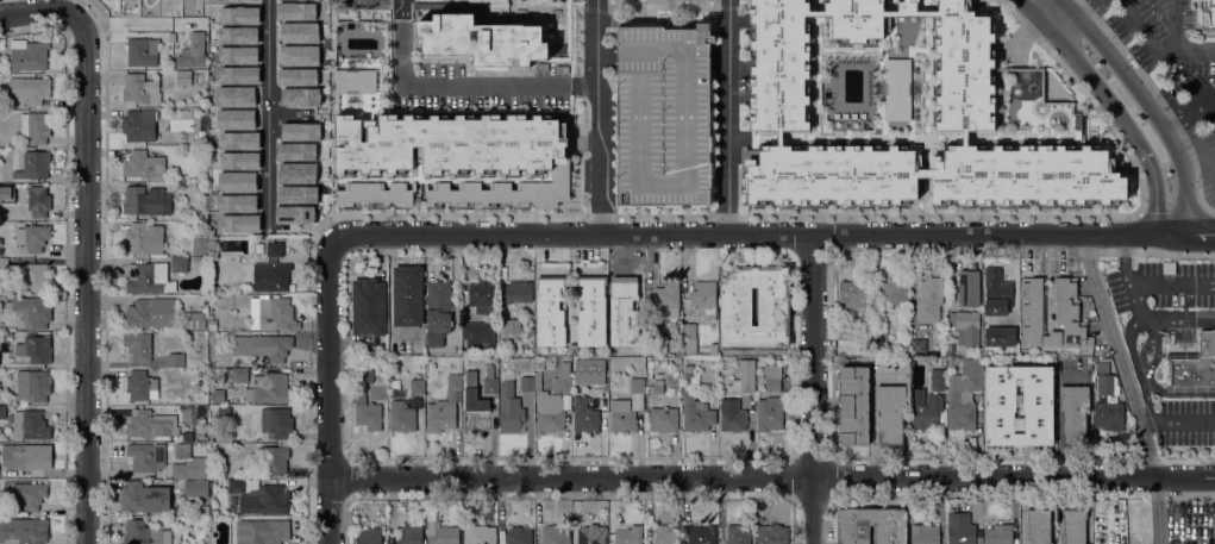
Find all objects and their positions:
road: (1033, 2)
road: (65, 6)
road: (42, 8)
road: (1075, 14)
building: (1208, 15)
road: (139, 23)
road: (1173, 25)
building: (170, 37)
building: (474, 39)
road: (1158, 46)
building: (142, 52)
building: (27, 55)
building: (192, 55)
building: (183, 77)
road: (458, 86)
building: (30, 89)
building: (140, 89)
road: (1111, 106)
road: (1146, 106)
building: (895, 112)
road: (1189, 113)
building: (663, 115)
road: (267, 117)
road: (731, 118)
road: (596, 119)
building: (139, 125)
building: (38, 127)
building: (202, 135)
building: (190, 140)
building: (446, 144)
building: (33, 165)
building: (144, 165)
building: (513, 192)
building: (374, 193)
building: (146, 201)
building: (37, 202)
building: (199, 215)
building: (120, 226)
road: (771, 235)
building: (32, 238)
building: (144, 239)
building: (200, 245)
building: (275, 250)
building: (192, 260)
building: (4, 264)
building: (202, 265)
building: (1110, 268)
building: (1169, 268)
road: (1127, 274)
building: (155, 275)
building: (271, 276)
building: (31, 277)
road: (84, 282)
road: (1172, 282)
building: (969, 288)
building: (518, 292)
building: (997, 292)
building: (893, 293)
building: (853, 294)
building: (482, 295)
building: (407, 296)
building: (703, 298)
building: (928, 300)
building: (665, 301)
building: (774, 307)
building: (33, 311)
building: (368, 311)
building: (550, 311)
building: (591, 311)
building: (150, 312)
building: (438, 312)
building: (624, 312)
building: (1066, 312)
building: (276, 314)
road: (1185, 319)
building: (194, 320)
building: (212, 325)
building: (508, 327)
building: (965, 327)
building: (846, 332)
building: (7, 333)
building: (477, 333)
building: (879, 333)
building: (688, 337)
building: (712, 337)
building: (1000, 337)
road: (1155, 339)
road: (1131, 344)
building: (138, 345)
building: (274, 348)
building: (917, 348)
building: (950, 348)
building: (33, 349)
building: (713, 349)
building: (1088, 351)
building: (176, 359)
building: (950, 361)
building: (602, 362)
building: (941, 362)
building: (1194, 367)
building: (687, 374)
building: (364, 375)
building: (239, 376)
building: (772, 376)
building: (744, 377)
building: (562, 379)
building: (453, 382)
building: (597, 382)
building: (758, 382)
building: (464, 384)
building: (1107, 384)
building: (32, 386)
building: (140, 386)
building: (490, 386)
road: (1129, 386)
building: (417, 387)
building: (656, 387)
building: (271, 388)
road: (812, 389)
road: (327, 390)
building: (963, 395)
building: (1000, 395)
road: (1148, 398)
building: (927, 402)
building: (544, 404)
building: (853, 405)
building: (627, 408)
building: (511, 409)
building: (224, 411)
building: (2, 412)
building: (367, 413)
building: (770, 413)
building: (696, 414)
building: (890, 414)
building: (1073, 414)
building: (440, 415)
building: (477, 415)
building: (584, 415)
building: (732, 415)
building: (1108, 417)
building: (401, 418)
building: (663, 419)
road: (1177, 419)
building: (276, 423)
building: (148, 424)
building: (30, 425)
building: (200, 426)
building: (26, 456)
building: (146, 456)
building: (275, 458)
building: (187, 463)
road: (771, 476)
building: (174, 480)
building: (236, 486)
building: (195, 488)
building: (26, 496)
building: (144, 498)
building: (265, 500)
building: (202, 509)
building: (203, 520)
building: (1038, 526)
building: (1073, 526)
building: (960, 529)
building: (23, 531)
building: (261, 531)
building: (143, 533)
building: (440, 533)
building: (701, 533)
building: (481, 534)
building: (628, 534)
building: (665, 534)
building: (737, 534)
building: (772, 534)
building: (853, 534)
building: (923, 534)
building: (998, 534)
building: (368, 536)
building: (409, 536)
building: (519, 536)
building: (555, 536)
building: (589, 536)

